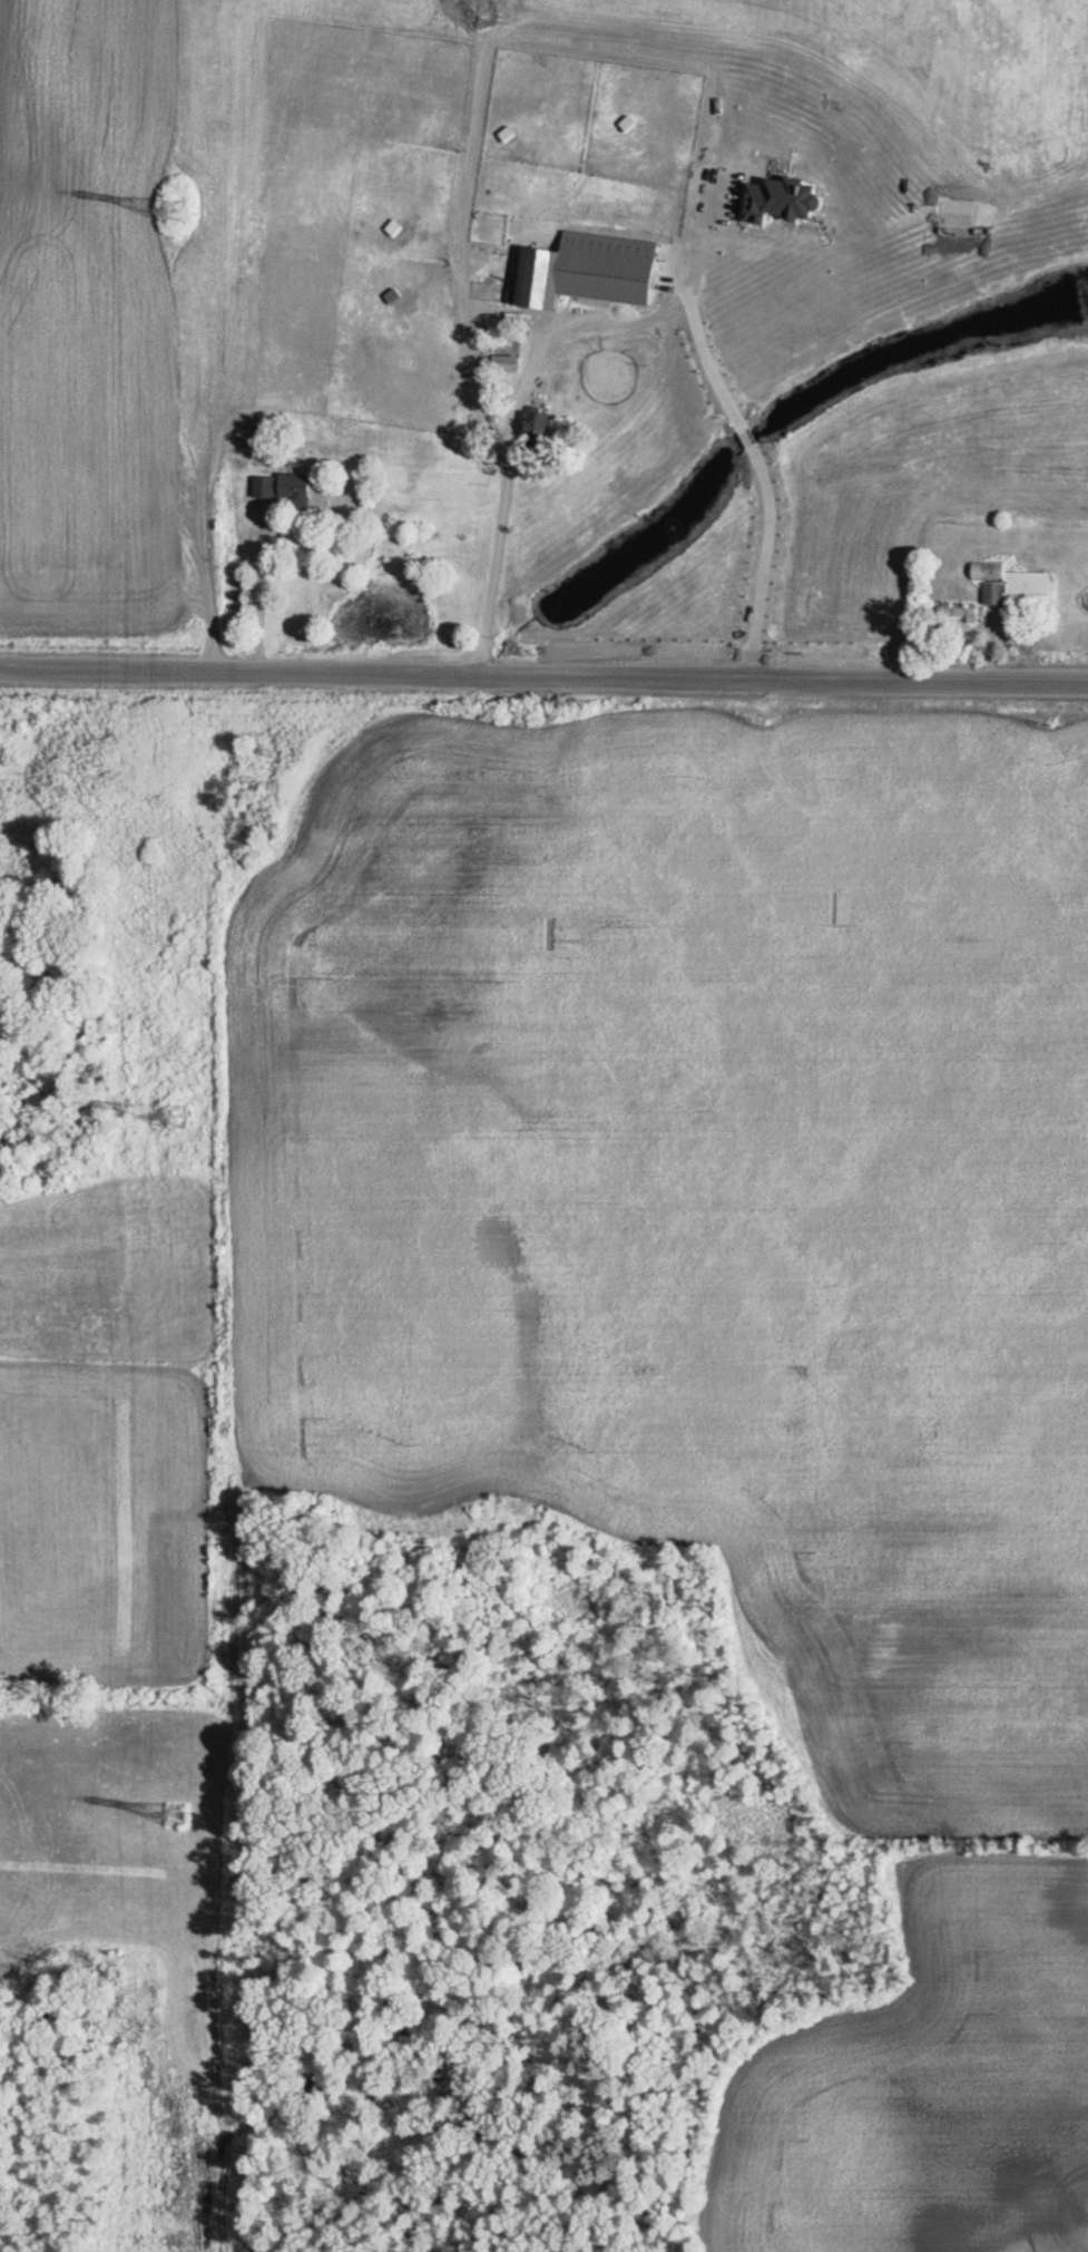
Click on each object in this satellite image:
power tower: (178, 216)
building: (592, 279)
road: (696, 312)
road: (516, 429)
building: (541, 432)
road: (751, 436)
building: (287, 489)
road: (766, 560)
road: (263, 592)
building: (1010, 598)
road: (543, 673)
power tower: (178, 1119)
power tower: (182, 1816)

